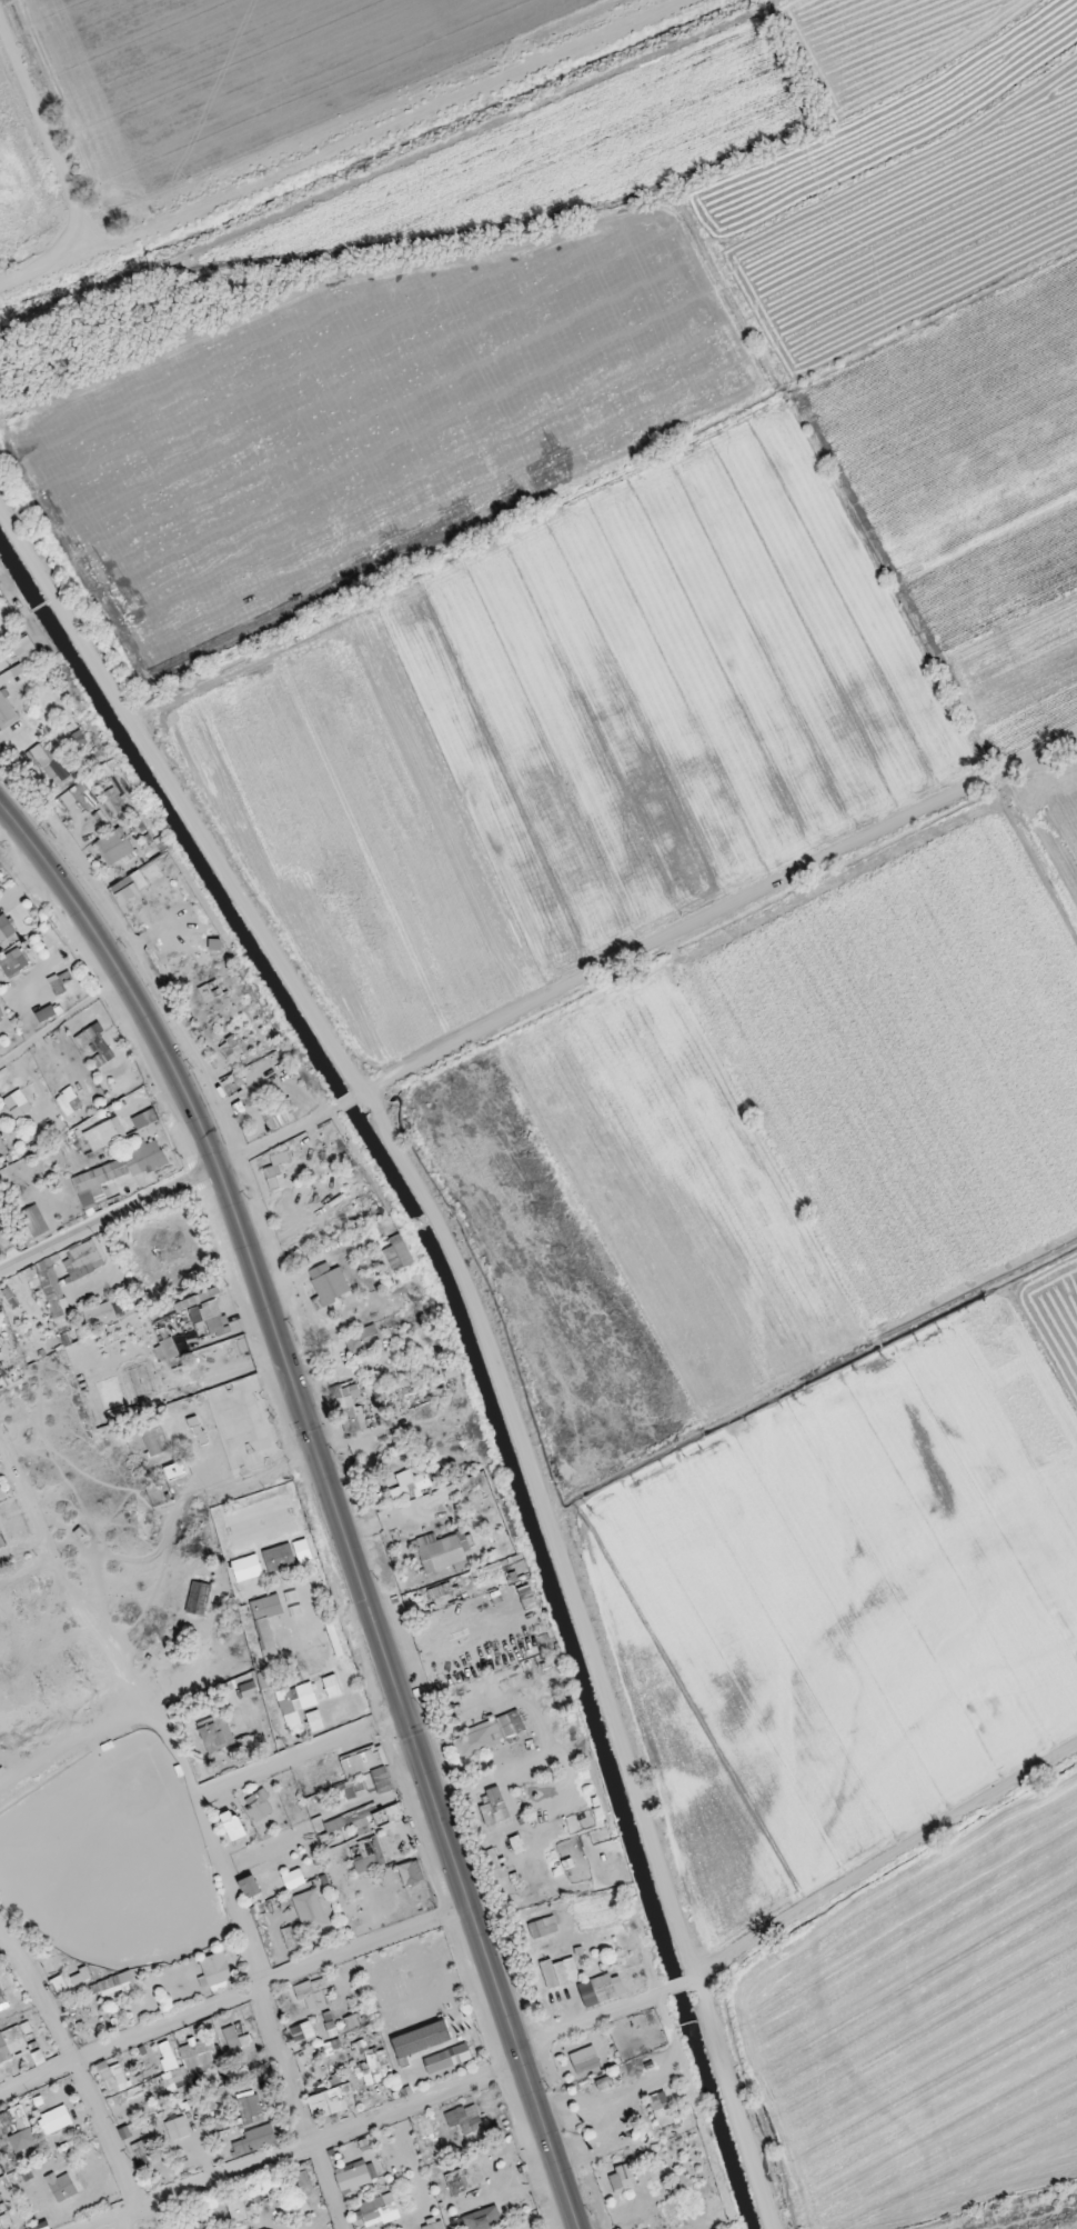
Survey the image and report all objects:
park: (111, 1861)

